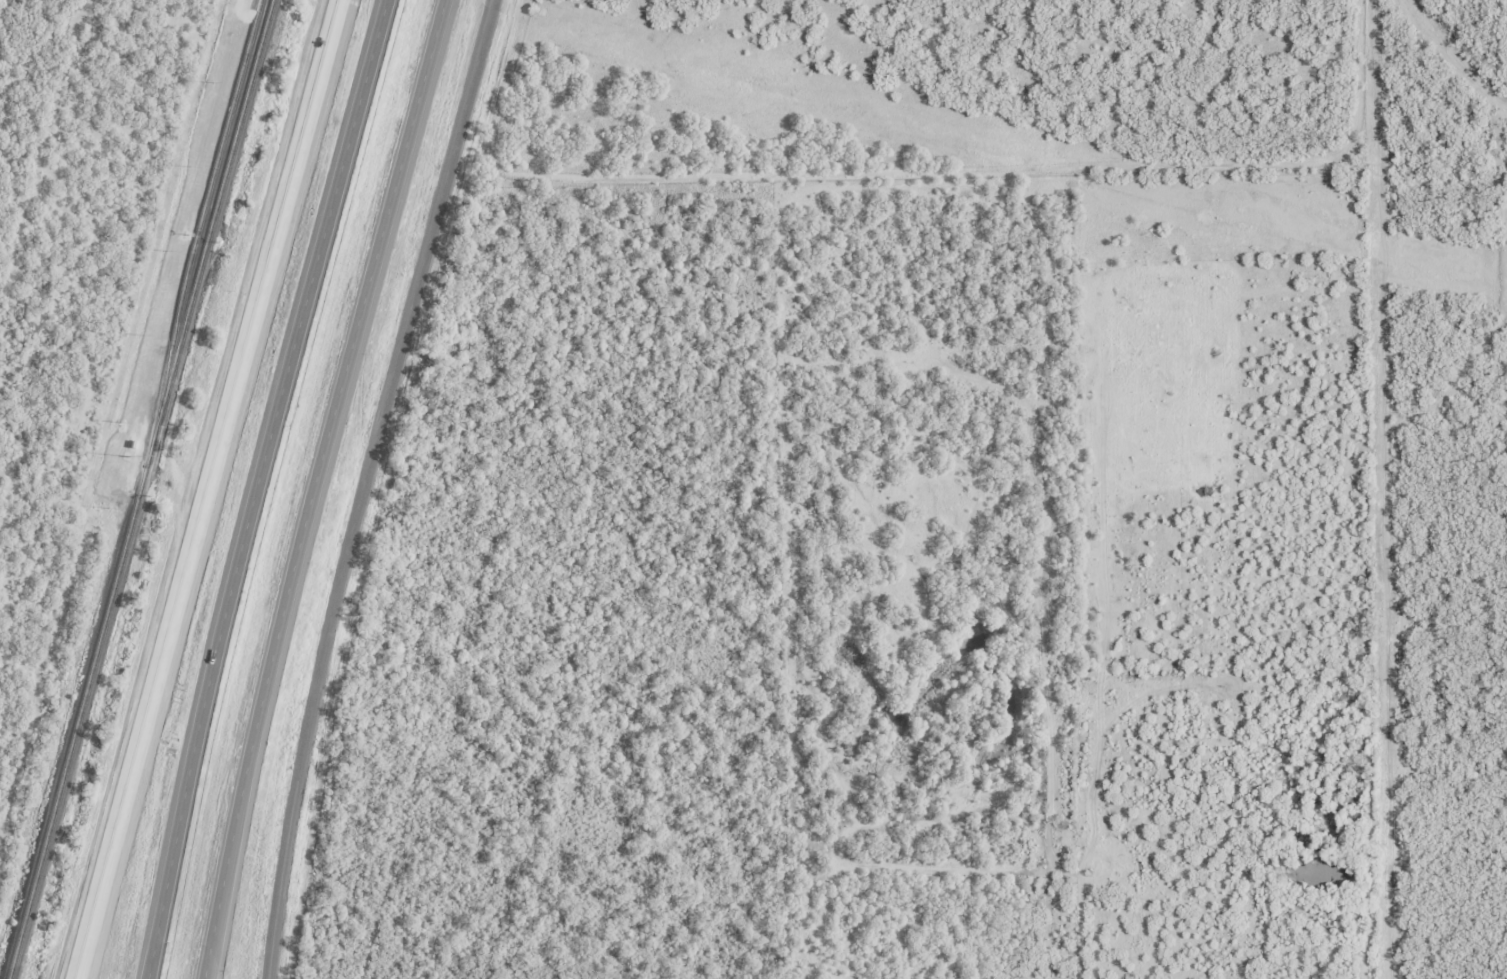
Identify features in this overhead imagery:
road: (363, 485)
road: (255, 486)
road: (313, 487)
railway: (137, 489)
road: (205, 489)
road: (234, 851)

